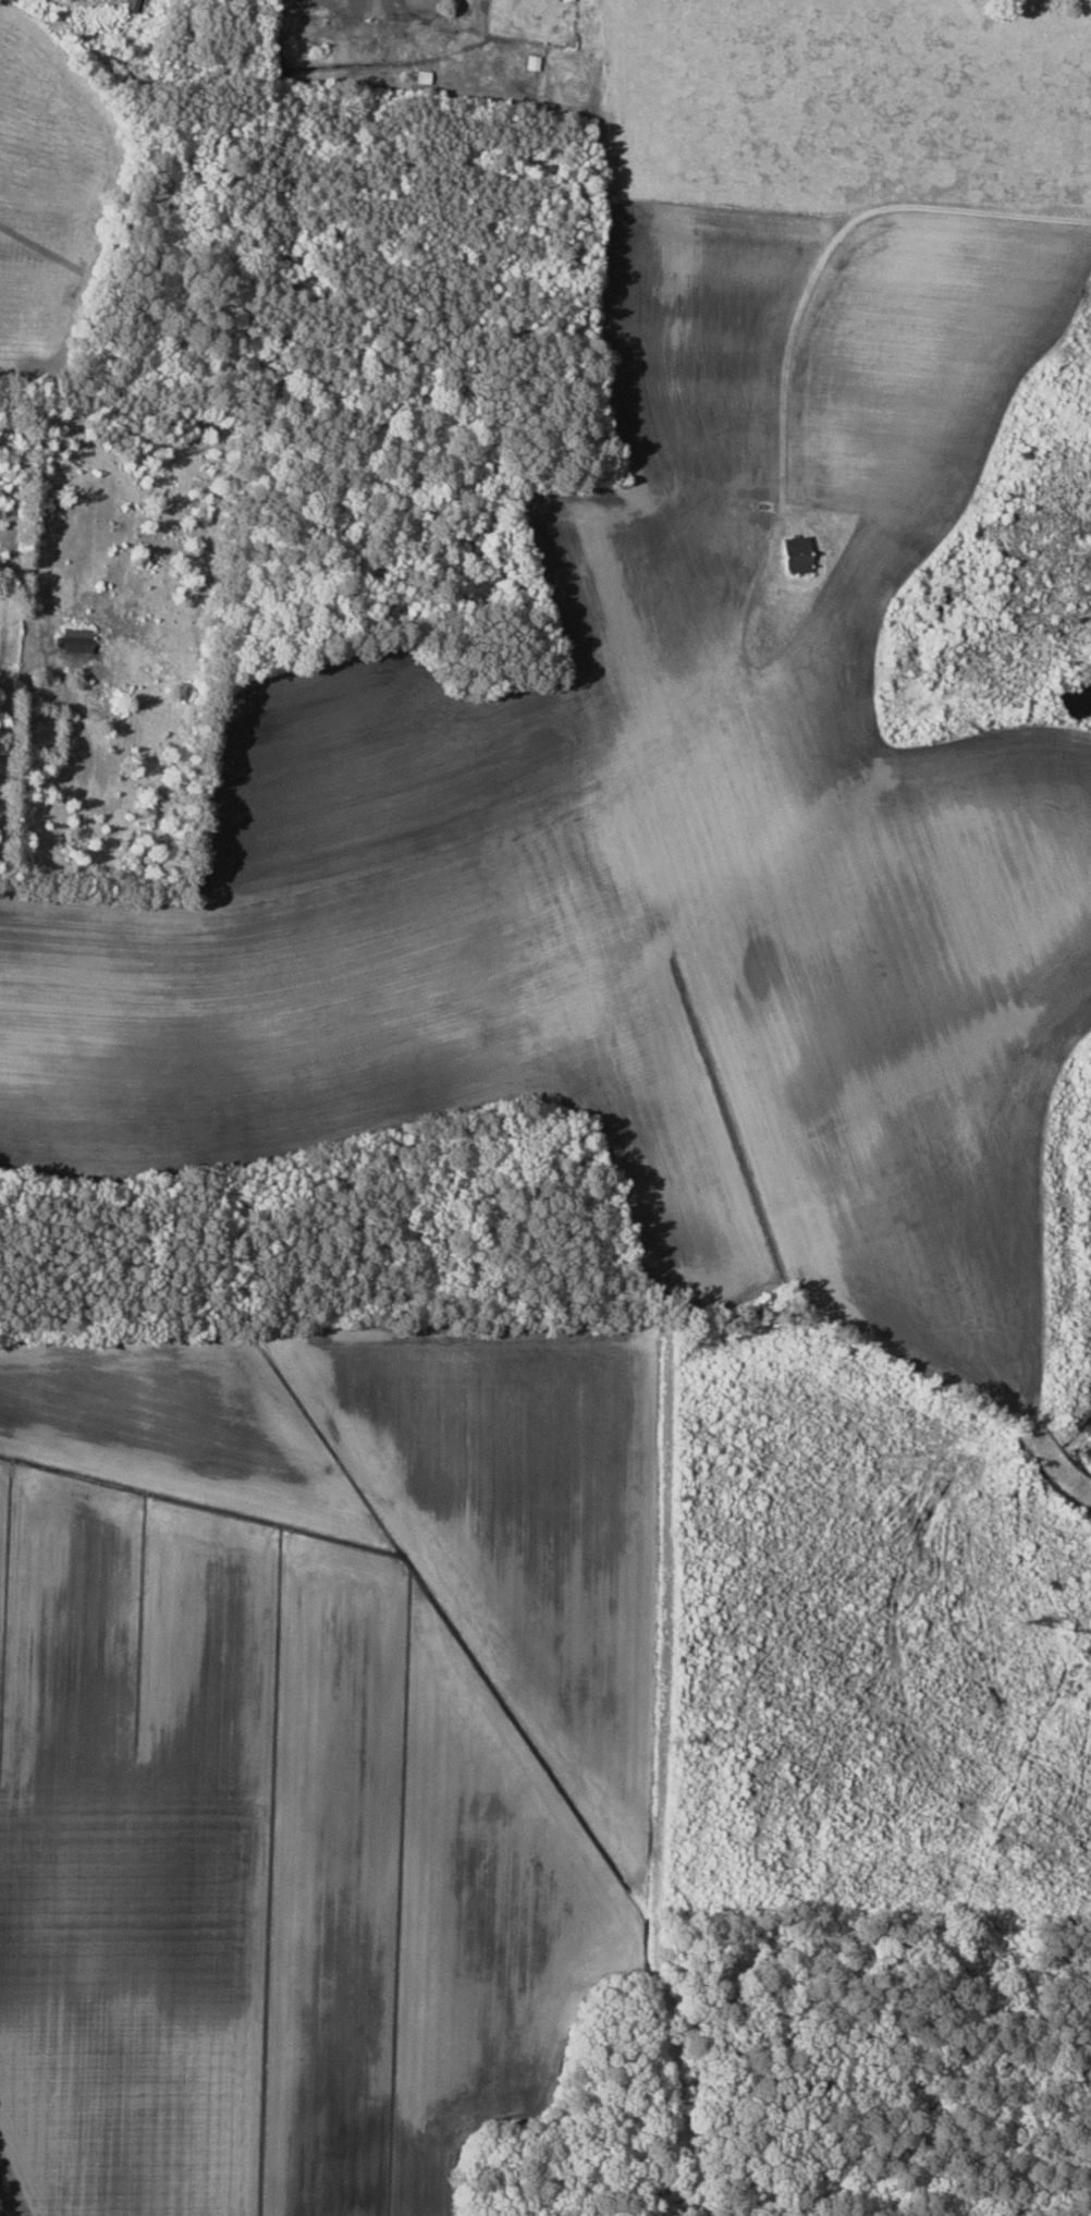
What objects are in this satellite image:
building: (531, 62)
road: (828, 240)
building: (795, 555)
building: (74, 640)

